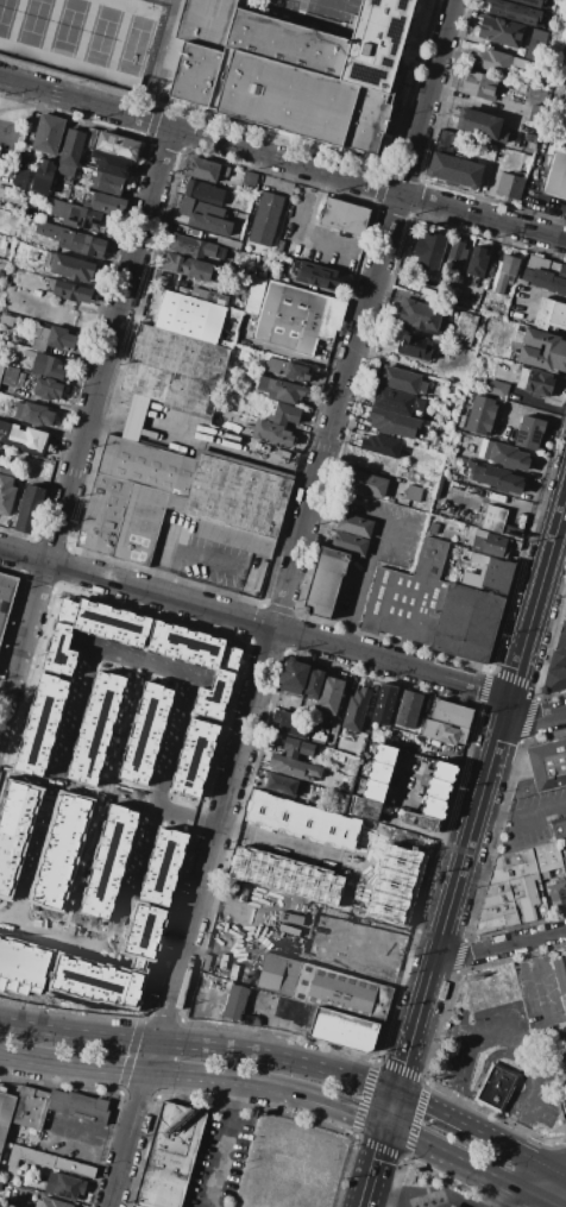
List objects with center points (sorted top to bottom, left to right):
building: (530, 2)
parking lot: (339, 5)
building: (515, 12)
building: (501, 31)
park: (80, 33)
building: (536, 45)
building: (492, 61)
building: (517, 65)
building: (289, 69)
building: (479, 84)
road: (474, 105)
building: (535, 114)
building: (480, 126)
park: (11, 133)
building: (48, 133)
building: (89, 137)
building: (447, 143)
building: (117, 145)
building: (70, 152)
road: (283, 158)
building: (524, 158)
building: (111, 164)
building: (206, 169)
building: (455, 169)
building: (20, 174)
building: (555, 176)
building: (43, 177)
building: (249, 181)
building: (106, 183)
building: (510, 186)
building: (203, 193)
building: (107, 203)
building: (75, 215)
building: (203, 216)
building: (346, 216)
building: (265, 219)
road: (307, 226)
road: (564, 234)
building: (73, 240)
building: (228, 244)
building: (196, 247)
building: (279, 247)
building: (429, 250)
building: (457, 253)
building: (478, 262)
building: (188, 266)
building: (273, 266)
building: (71, 268)
building: (561, 271)
building: (505, 274)
building: (320, 277)
building: (545, 279)
road: (534, 289)
building: (73, 291)
building: (183, 291)
building: (208, 296)
building: (256, 296)
building: (417, 314)
building: (549, 314)
building: (189, 316)
building: (297, 318)
building: (6, 320)
building: (465, 329)
building: (39, 338)
building: (59, 338)
building: (414, 347)
building: (542, 350)
building: (29, 353)
building: (46, 366)
building: (1, 367)
building: (174, 369)
building: (289, 370)
building: (8, 376)
building: (401, 381)
building: (535, 382)
building: (48, 388)
building: (279, 390)
building: (498, 390)
building: (397, 401)
building: (33, 414)
building: (284, 415)
building: (480, 415)
building: (136, 417)
building: (394, 423)
road: (83, 432)
building: (272, 433)
building: (529, 433)
building: (24, 438)
building: (381, 446)
road: (231, 448)
building: (484, 448)
building: (509, 457)
building: (376, 464)
building: (146, 465)
building: (474, 471)
building: (502, 479)
building: (367, 484)
building: (6, 490)
building: (413, 495)
building: (237, 502)
building: (30, 509)
building: (103, 514)
building: (493, 518)
building: (144, 522)
building: (354, 526)
building: (432, 528)
road: (560, 538)
building: (350, 543)
building: (490, 543)
road: (386, 547)
road: (185, 557)
building: (488, 572)
road: (21, 574)
building: (325, 583)
road: (540, 586)
building: (6, 597)
building: (565, 599)
road: (279, 602)
road: (14, 605)
building: (432, 608)
building: (565, 615)
road: (256, 622)
road: (247, 639)
building: (560, 640)
building: (183, 642)
road: (141, 658)
road: (282, 660)
building: (556, 660)
building: (294, 673)
building: (554, 680)
building: (219, 681)
building: (314, 684)
building: (329, 696)
road: (229, 699)
building: (385, 699)
building: (356, 709)
building: (408, 709)
building: (452, 713)
road: (535, 718)
building: (290, 723)
building: (440, 731)
building: (144, 734)
building: (461, 735)
building: (296, 748)
building: (384, 754)
building: (193, 757)
building: (294, 767)
building: (543, 769)
building: (444, 771)
building: (379, 772)
building: (281, 784)
building: (438, 788)
building: (373, 791)
building: (434, 807)
building: (366, 809)
road: (522, 811)
building: (420, 821)
building: (13, 828)
building: (558, 828)
road: (257, 840)
building: (547, 857)
building: (564, 857)
road: (366, 870)
building: (511, 893)
building: (556, 893)
road: (452, 899)
road: (5, 924)
road: (227, 933)
road: (58, 938)
road: (499, 945)
building: (249, 949)
road: (376, 963)
building: (21, 967)
building: (278, 974)
building: (560, 974)
building: (341, 993)
building: (235, 1002)
building: (291, 1010)
road: (277, 1020)
road: (199, 1021)
building: (342, 1030)
road: (133, 1035)
road: (520, 1042)
road: (200, 1046)
road: (564, 1063)
road: (139, 1073)
road: (479, 1074)
road: (459, 1079)
building: (496, 1088)
traffic signals: (395, 1095)
road: (333, 1102)
road: (234, 1104)
building: (58, 1107)
building: (5, 1112)
road: (445, 1119)
traffic signals: (386, 1123)
road: (86, 1143)
road: (220, 1145)
road: (503, 1149)
building: (169, 1156)
road: (403, 1156)
building: (29, 1157)
parking lot: (218, 1161)
road: (373, 1164)
road: (472, 1164)
road: (539, 1165)
building: (74, 1168)
road: (561, 1173)
road: (396, 1182)
road: (542, 1183)
building: (63, 1186)
road: (395, 1196)
road: (512, 1199)
road: (448, 1200)
building: (54, 1202)
building: (448, 1205)
building: (452, 1206)

